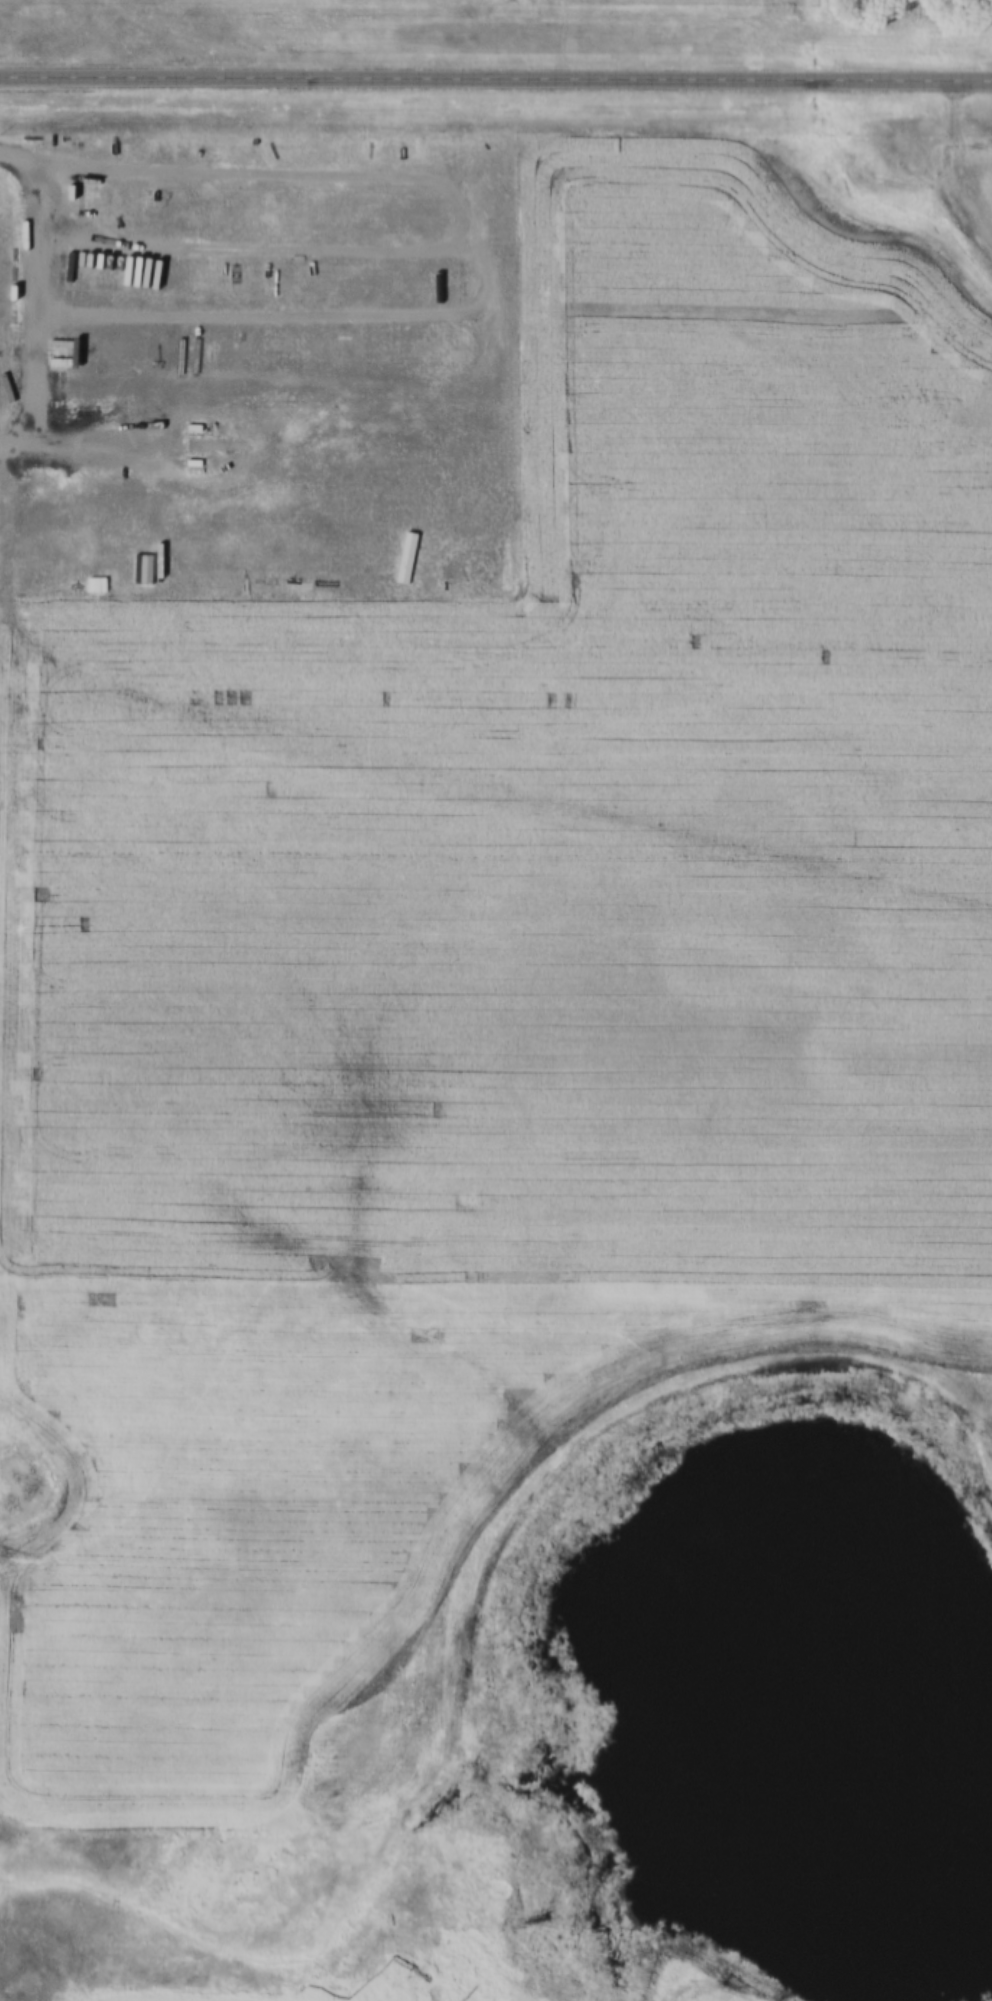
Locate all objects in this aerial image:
road: (495, 81)

